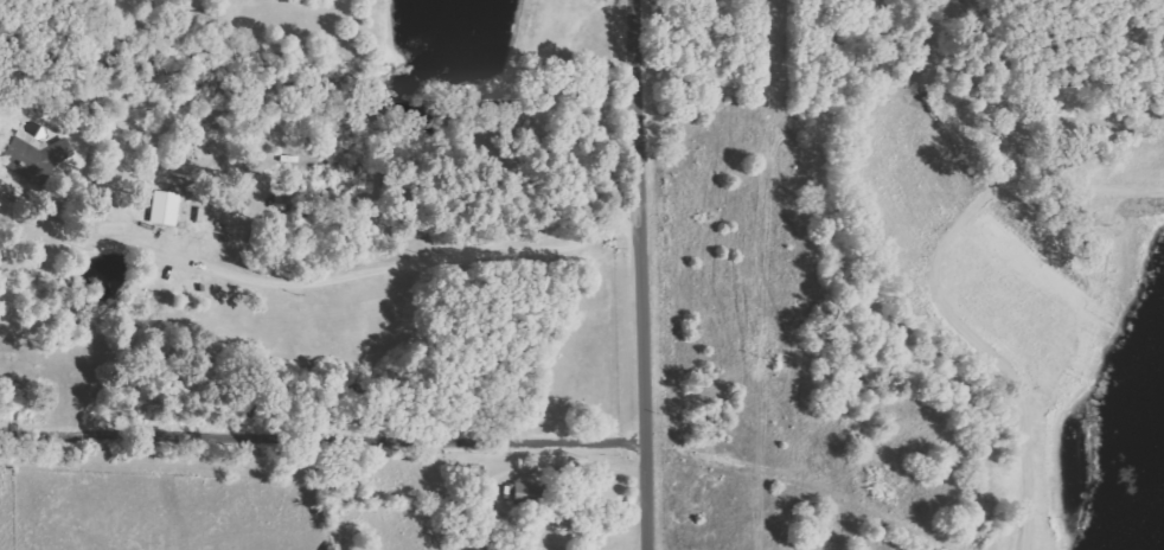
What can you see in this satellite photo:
building: (33, 158)
building: (165, 211)
road: (369, 273)
road: (652, 275)
road: (327, 440)
road: (591, 463)
road: (791, 484)
building: (523, 493)

